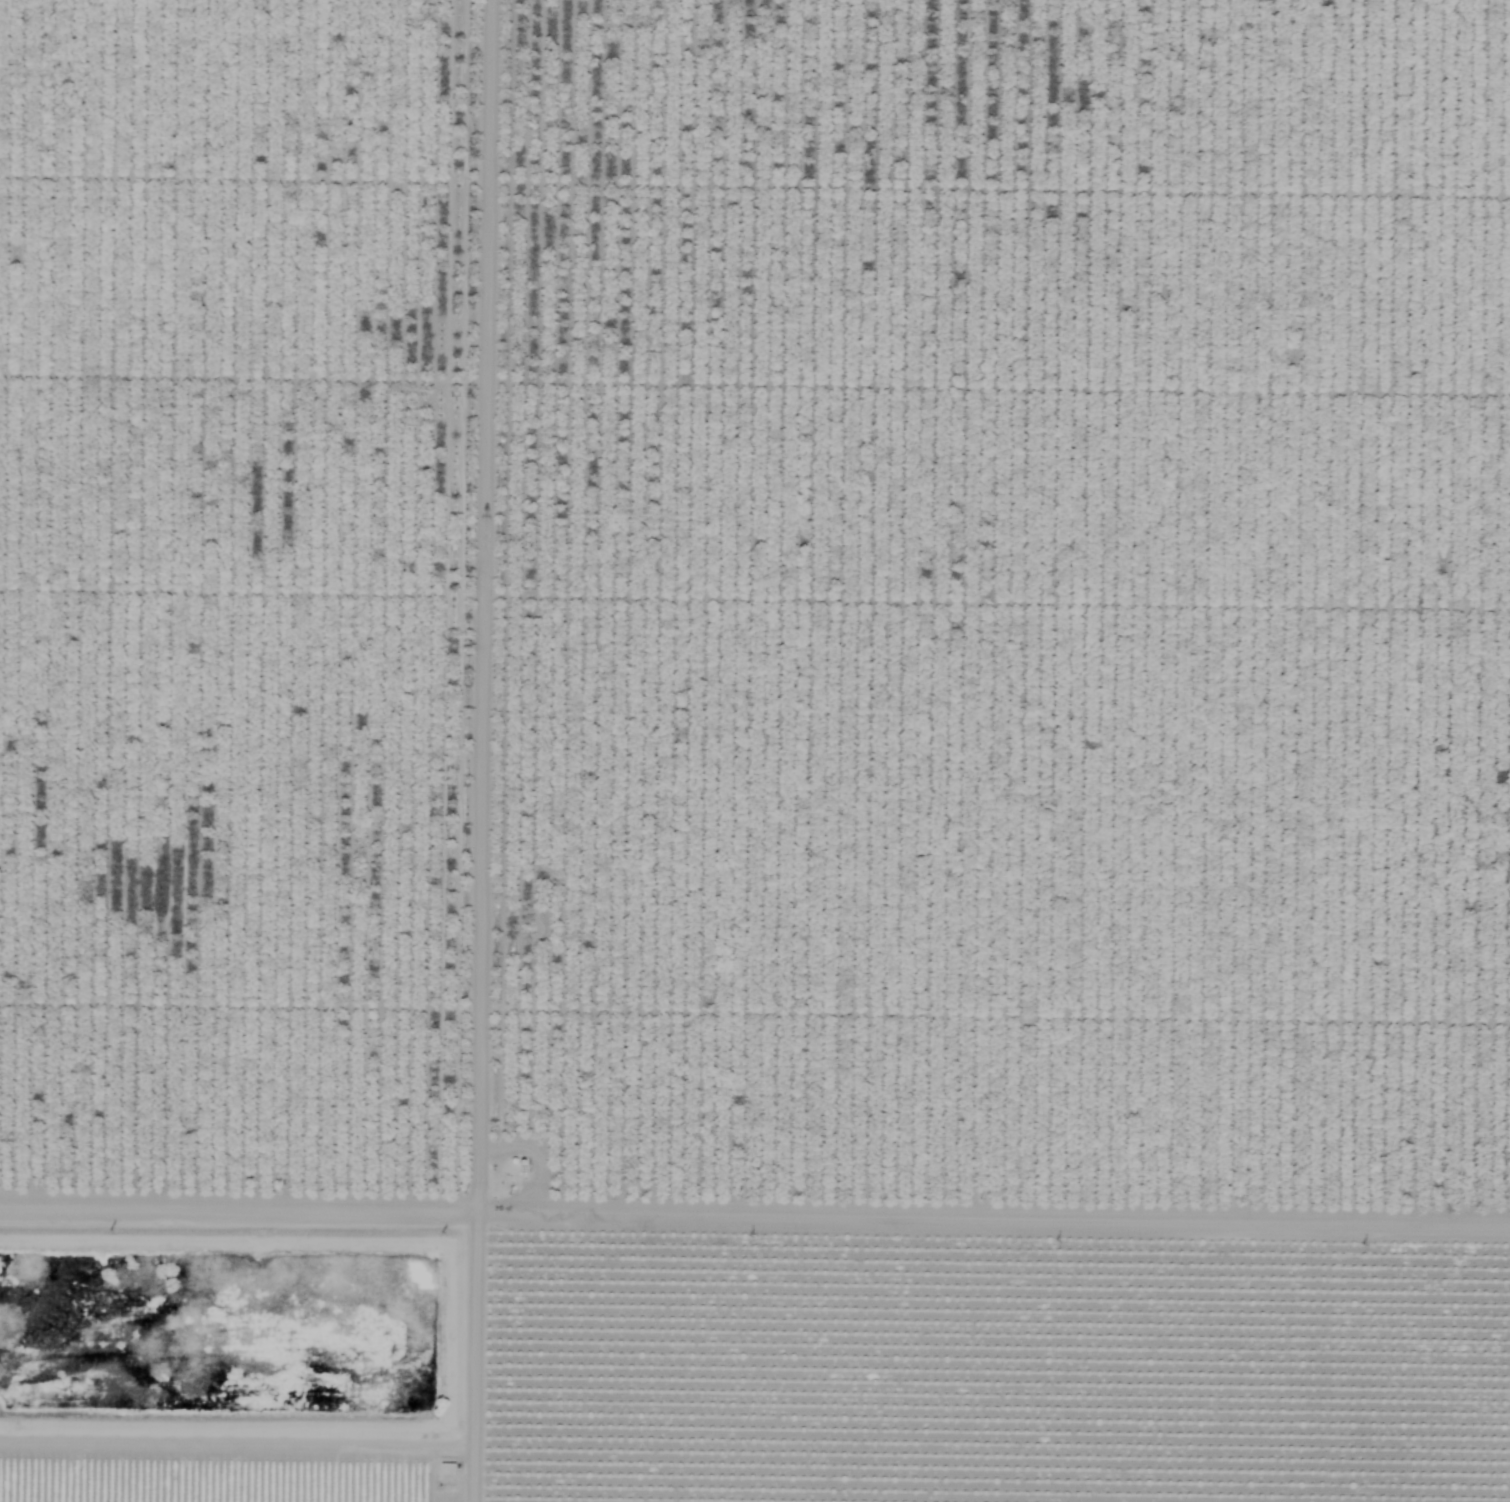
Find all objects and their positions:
road: (526, 751)
road: (262, 1188)
road: (1017, 1192)
crop: (259, 1333)
crop: (1014, 1339)

